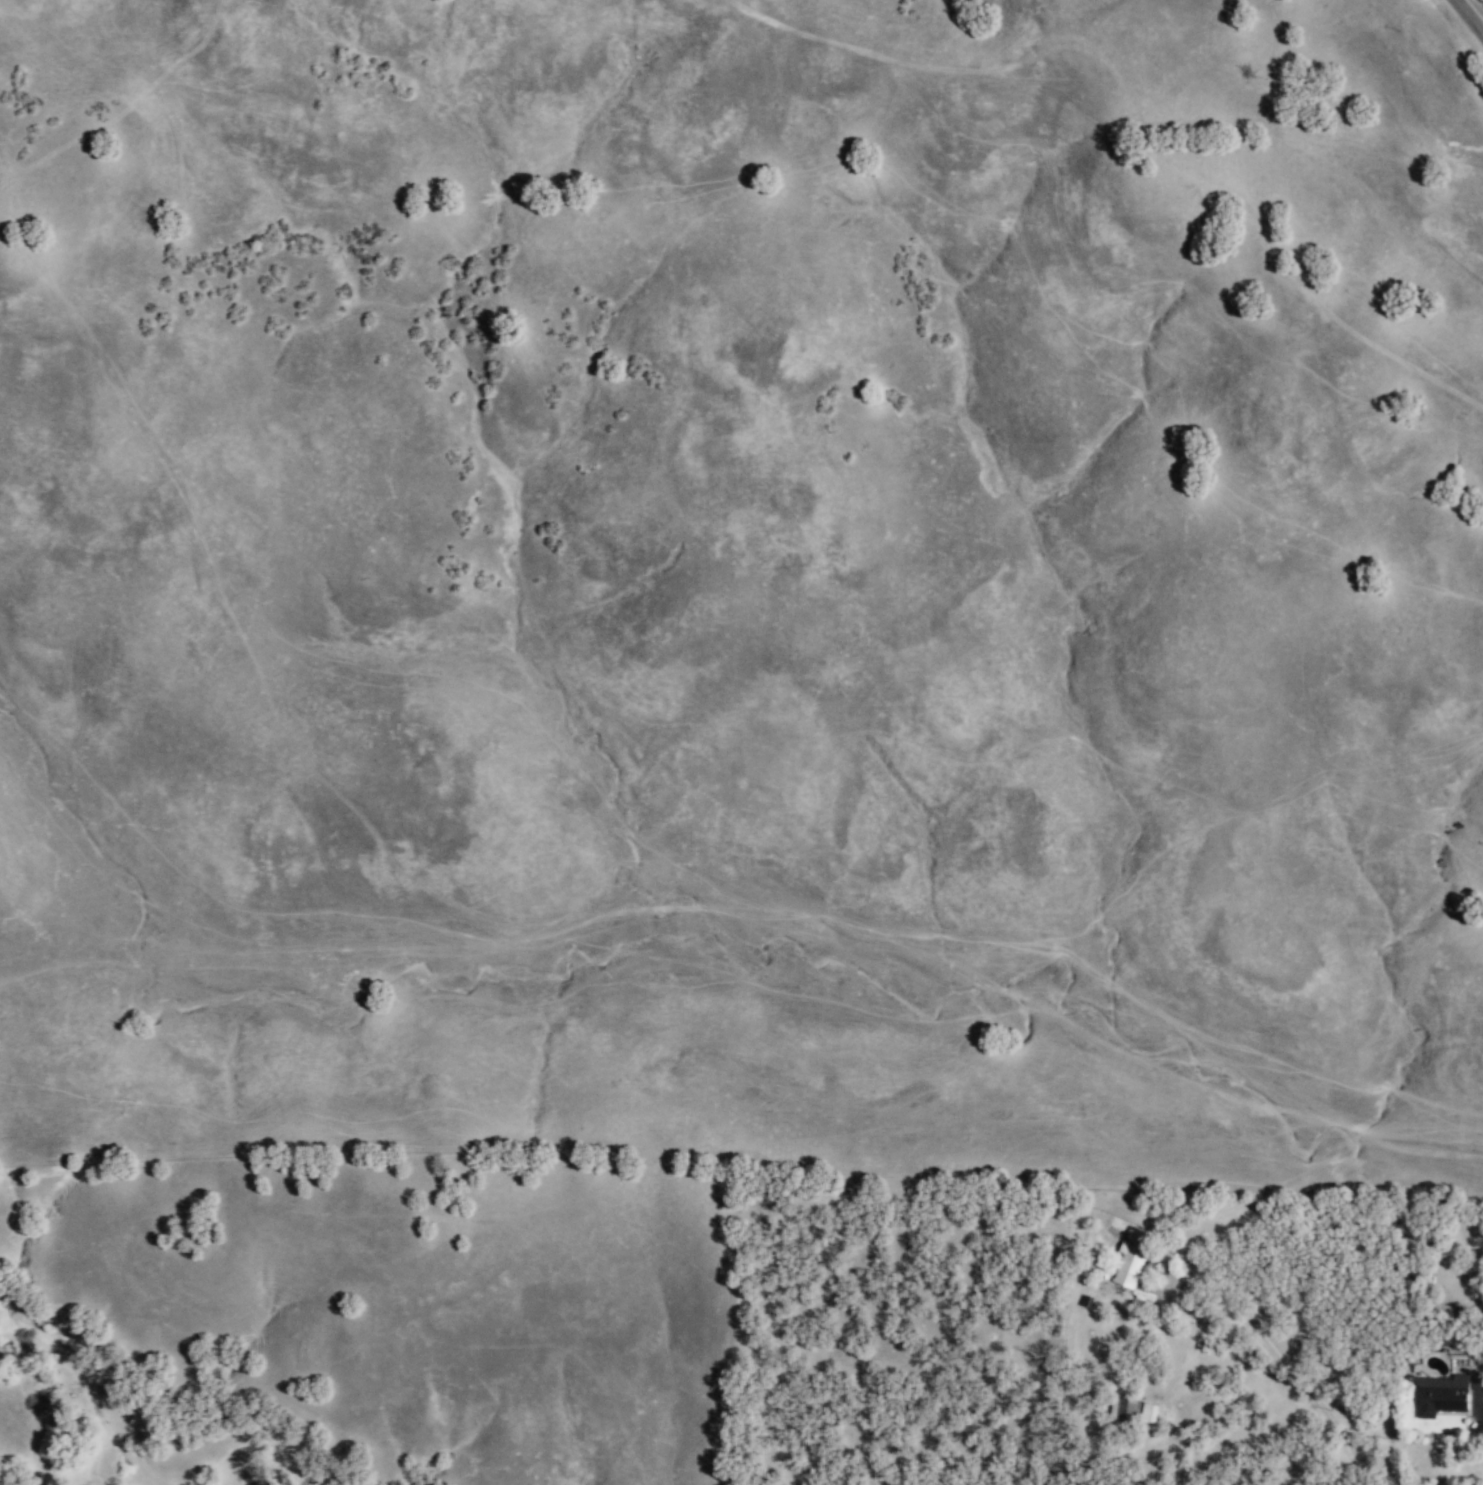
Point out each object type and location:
road: (1468, 17)
building: (1131, 1258)
building: (1455, 1313)
building: (1439, 1396)
building: (1135, 1412)
road: (1366, 1477)

